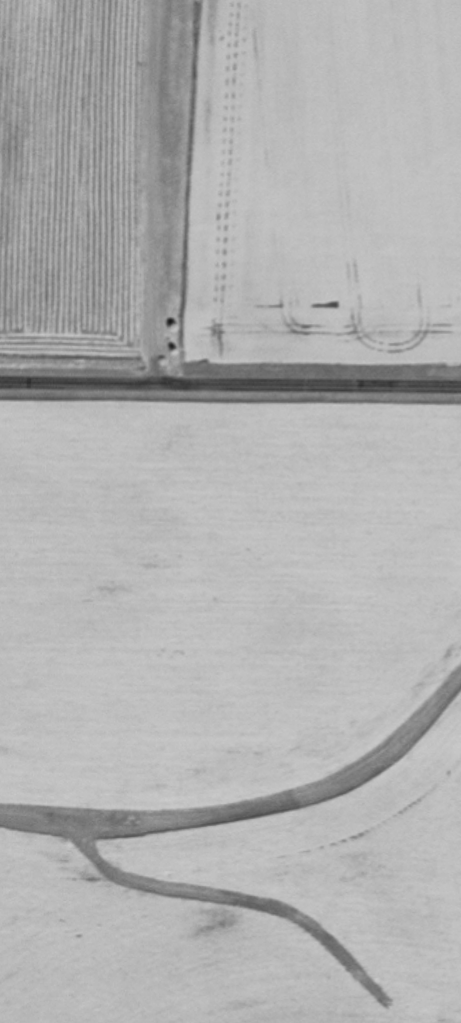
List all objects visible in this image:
road: (157, 193)
road: (230, 386)

